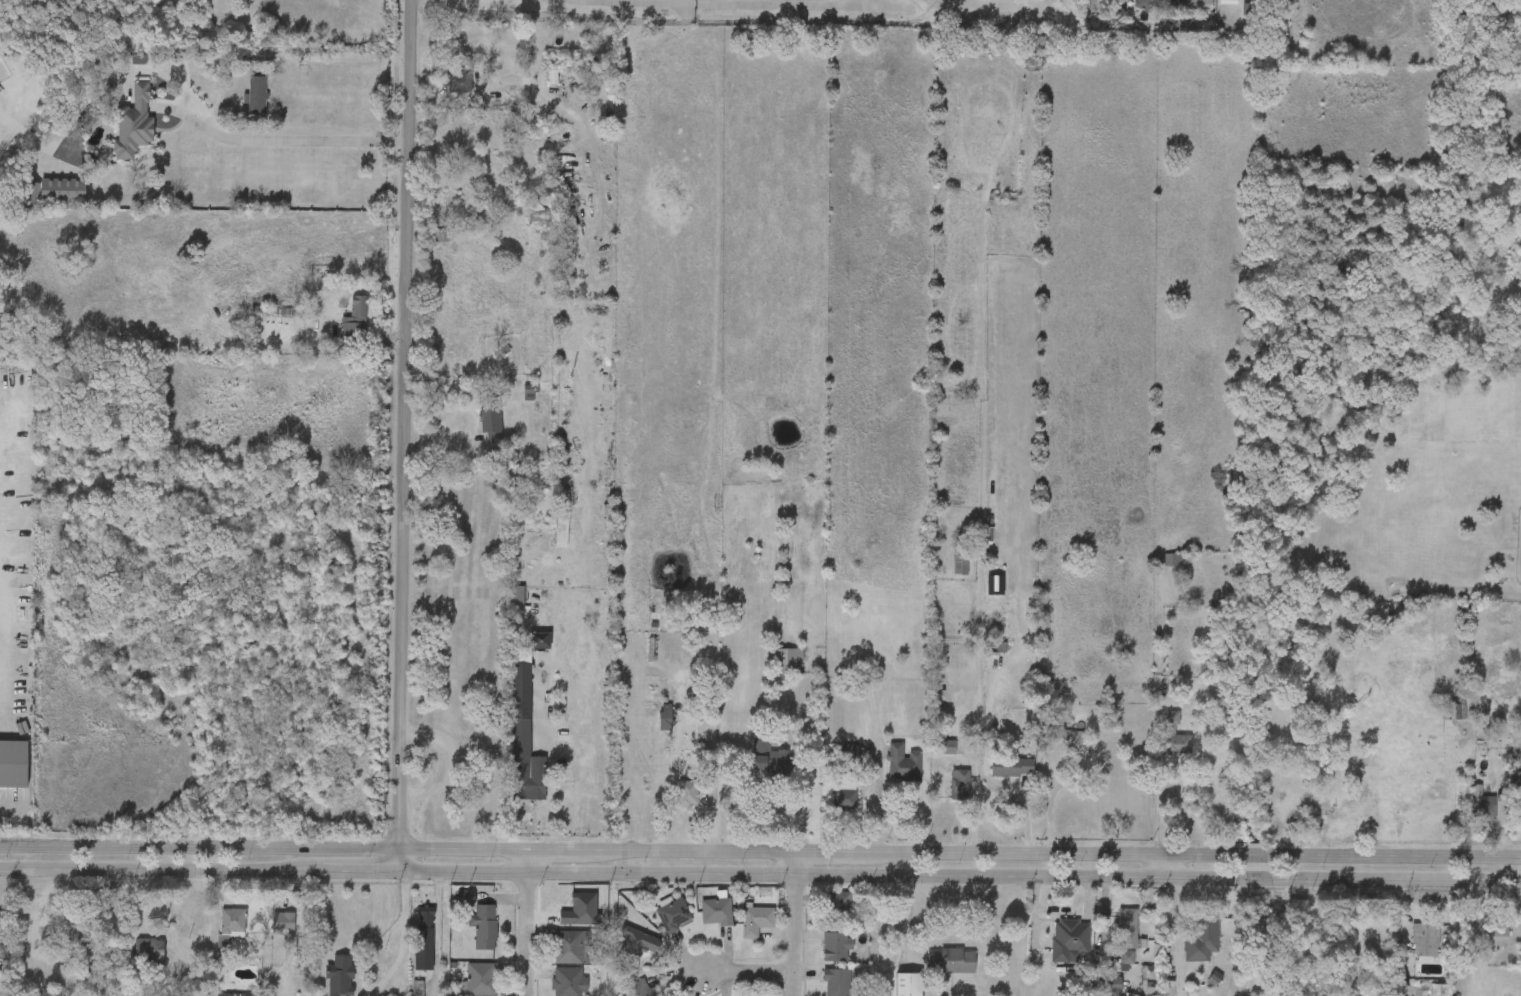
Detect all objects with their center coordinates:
building: (1163, 1)
building: (1196, 1)
road: (771, 2)
building: (1229, 2)
building: (1144, 5)
building: (1212, 7)
building: (1180, 10)
building: (1101, 26)
road: (329, 56)
building: (537, 88)
building: (443, 93)
building: (256, 95)
building: (240, 105)
building: (133, 124)
building: (118, 135)
road: (276, 151)
building: (41, 201)
building: (304, 282)
building: (258, 322)
building: (340, 330)
building: (513, 403)
building: (475, 433)
road: (402, 436)
building: (546, 543)
building: (1156, 570)
building: (525, 651)
building: (787, 659)
building: (772, 670)
building: (1172, 719)
building: (1437, 722)
building: (650, 728)
building: (1059, 738)
building: (510, 742)
building: (1178, 744)
building: (946, 747)
building: (1158, 747)
building: (766, 755)
building: (835, 759)
building: (902, 762)
building: (13, 763)
building: (1012, 766)
building: (667, 767)
building: (753, 767)
building: (886, 773)
road: (715, 777)
building: (1516, 781)
building: (959, 784)
building: (1500, 789)
building: (846, 791)
building: (943, 795)
road: (11, 806)
road: (1165, 807)
building: (1482, 809)
building: (828, 810)
building: (1464, 815)
road: (760, 852)
road: (1165, 868)
road: (760, 876)
building: (465, 897)
building: (450, 908)
building: (837, 908)
building: (716, 911)
building: (823, 912)
building: (674, 915)
building: (756, 919)
building: (282, 922)
road: (521, 922)
building: (701, 922)
road: (786, 924)
building: (484, 926)
building: (658, 926)
building: (231, 927)
building: (1128, 928)
building: (740, 930)
building: (79, 931)
building: (269, 933)
building: (215, 936)
building: (1495, 936)
building: (468, 937)
road: (388, 938)
building: (423, 938)
building: (1112, 938)
building: (1066, 939)
building: (1425, 940)
building: (1202, 941)
building: (572, 946)
building: (837, 946)
building: (644, 948)
building: (1478, 948)
building: (409, 950)
building: (1409, 950)
building: (1186, 951)
building: (148, 953)
building: (820, 956)
building: (553, 957)
building: (133, 961)
building: (952, 961)
building: (1111, 968)
building: (935, 971)
road: (741, 973)
building: (339, 976)
building: (481, 979)
building: (324, 981)
building: (569, 982)
building: (835, 982)
building: (464, 984)
building: (908, 984)
building: (821, 987)
building: (636, 989)
building: (892, 989)
building: (1438, 990)
building: (1097, 991)
building: (402, 993)
building: (1134, 994)
building: (1421, 995)

